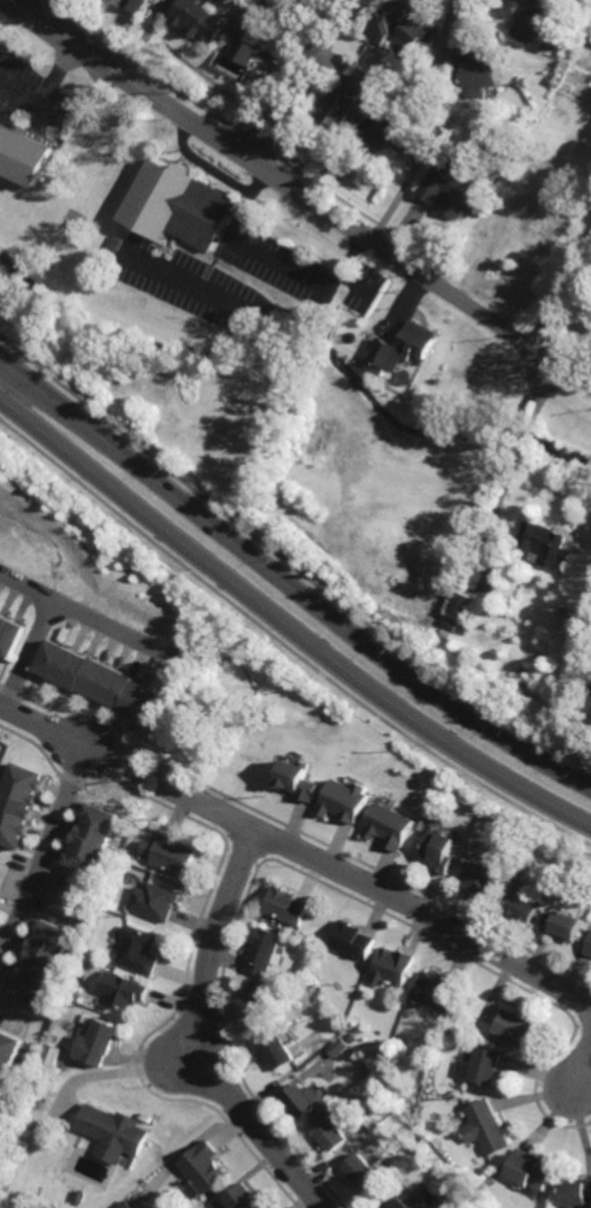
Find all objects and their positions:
building: (137, 5)
building: (196, 20)
building: (537, 22)
building: (400, 23)
building: (252, 37)
building: (478, 72)
road: (294, 81)
building: (345, 98)
building: (388, 137)
building: (24, 158)
building: (450, 190)
road: (299, 194)
building: (179, 208)
building: (118, 244)
road: (565, 289)
building: (331, 328)
building: (404, 343)
road: (534, 393)
building: (299, 414)
road: (514, 437)
road: (495, 481)
building: (544, 542)
road: (286, 584)
building: (403, 596)
building: (462, 603)
road: (286, 624)
road: (42, 626)
building: (461, 629)
road: (113, 631)
building: (10, 637)
building: (99, 682)
road: (42, 721)
building: (297, 780)
building: (345, 800)
building: (19, 805)
building: (391, 826)
building: (91, 839)
building: (441, 850)
road: (43, 852)
building: (171, 855)
building: (126, 856)
building: (514, 870)
building: (478, 878)
road: (378, 888)
building: (0, 901)
building: (150, 902)
building: (284, 907)
building: (522, 908)
building: (562, 926)
building: (353, 941)
building: (589, 949)
building: (136, 951)
building: (261, 951)
building: (45, 955)
building: (392, 967)
building: (437, 990)
building: (122, 991)
building: (78, 996)
building: (261, 1000)
building: (514, 1030)
building: (453, 1033)
road: (205, 1035)
building: (350, 1037)
building: (96, 1044)
building: (337, 1048)
building: (274, 1053)
building: (53, 1059)
building: (8, 1060)
building: (65, 1067)
building: (483, 1067)
road: (583, 1071)
building: (39, 1102)
building: (300, 1103)
building: (485, 1129)
building: (116, 1133)
building: (330, 1136)
building: (203, 1167)
building: (362, 1168)
building: (528, 1168)
building: (4, 1191)
building: (574, 1191)
building: (81, 1196)
building: (242, 1196)
building: (397, 1202)
building: (128, 1204)

